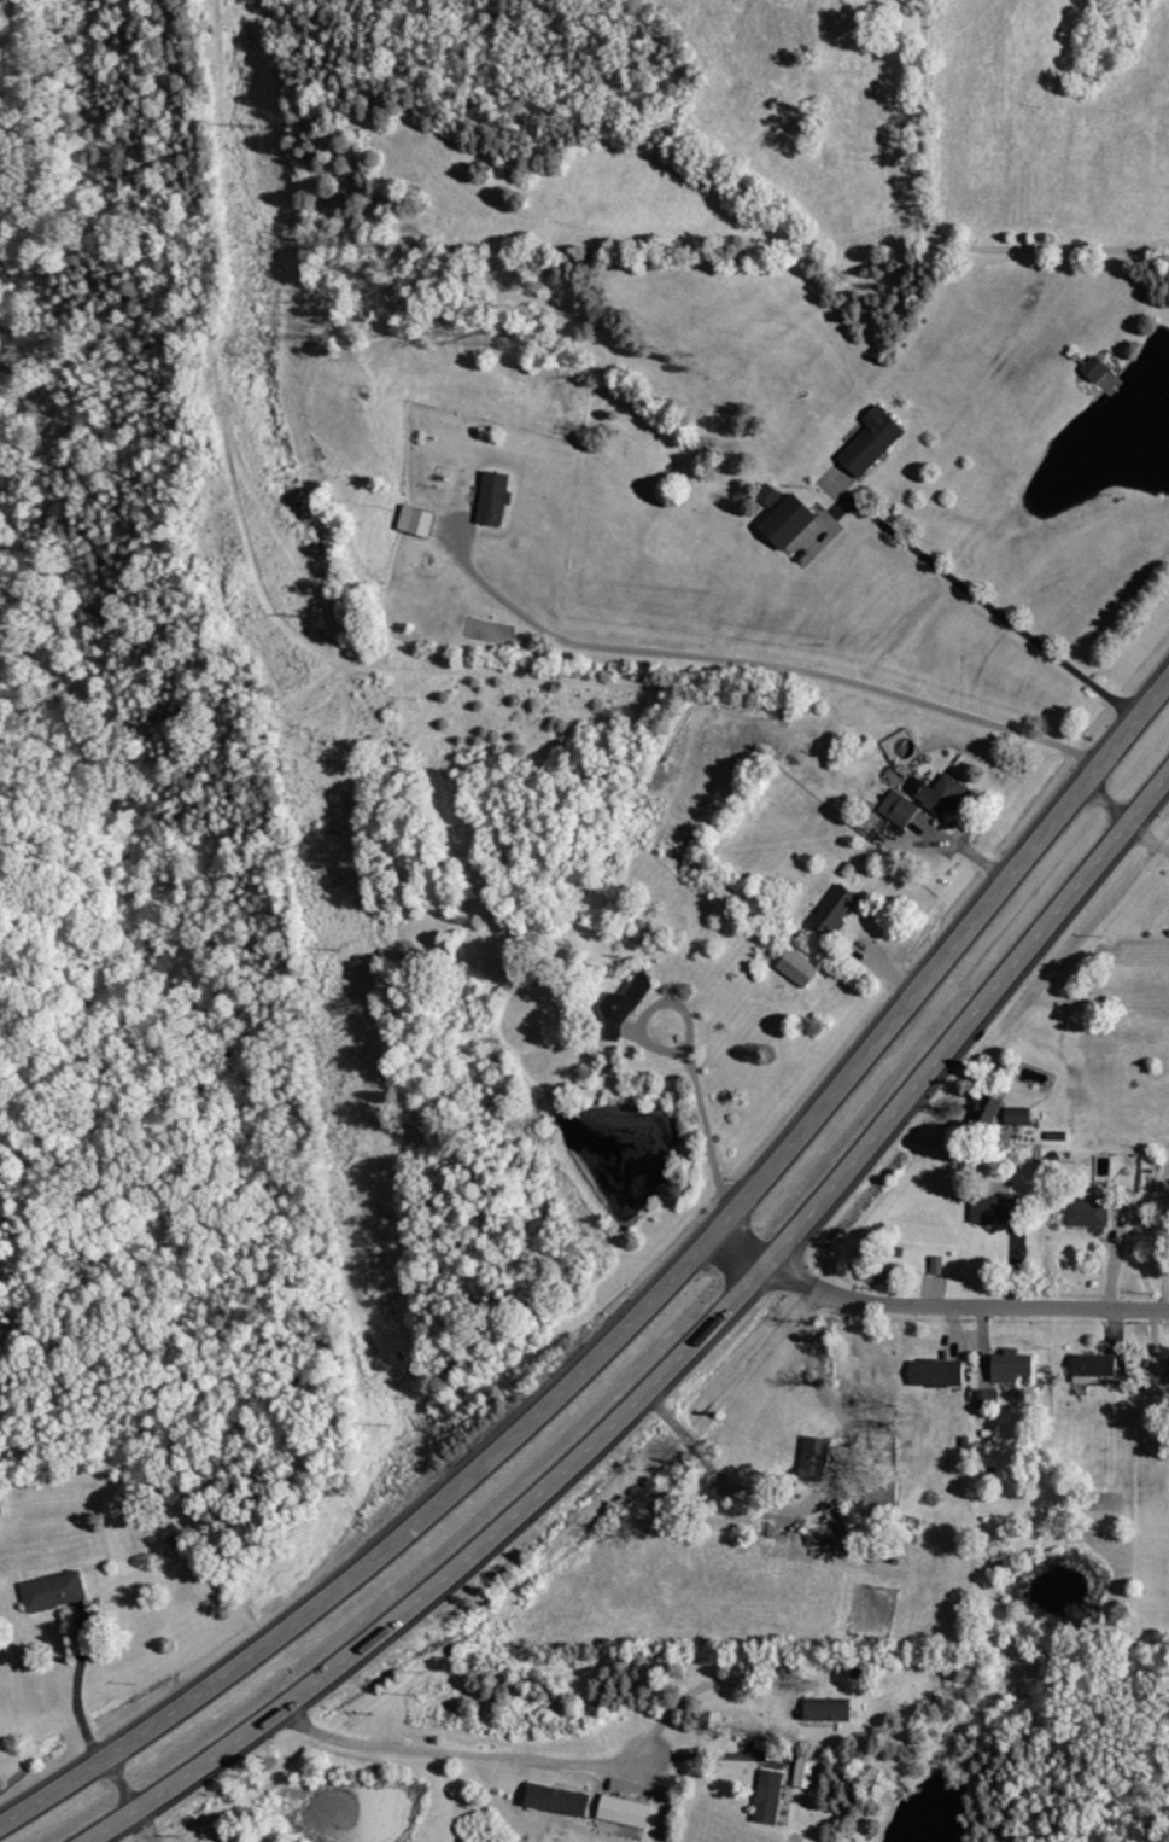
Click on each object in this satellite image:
power tower: (246, 123)
road: (937, 233)
building: (1097, 368)
building: (873, 441)
building: (496, 497)
building: (416, 520)
building: (790, 520)
road: (1004, 598)
power tower: (300, 612)
road: (753, 661)
building: (940, 793)
building: (900, 808)
road: (1124, 821)
building: (837, 908)
building: (800, 968)
building: (625, 1005)
road: (649, 1010)
building: (987, 1112)
building: (1019, 1115)
road: (703, 1130)
building: (996, 1212)
building: (1091, 1212)
road: (1164, 1235)
road: (929, 1301)
road: (637, 1311)
road: (679, 1358)
building: (1168, 1362)
building: (1015, 1366)
building: (1095, 1366)
building: (939, 1372)
road: (826, 1383)
building: (984, 1399)
building: (817, 1458)
building: (54, 1590)
road: (694, 1692)
building: (830, 1708)
road: (84, 1722)
road: (456, 1754)
road: (706, 1756)
building: (807, 1771)
building: (770, 1795)
building: (559, 1799)
road: (655, 1802)
building: (625, 1811)
road: (144, 1828)

